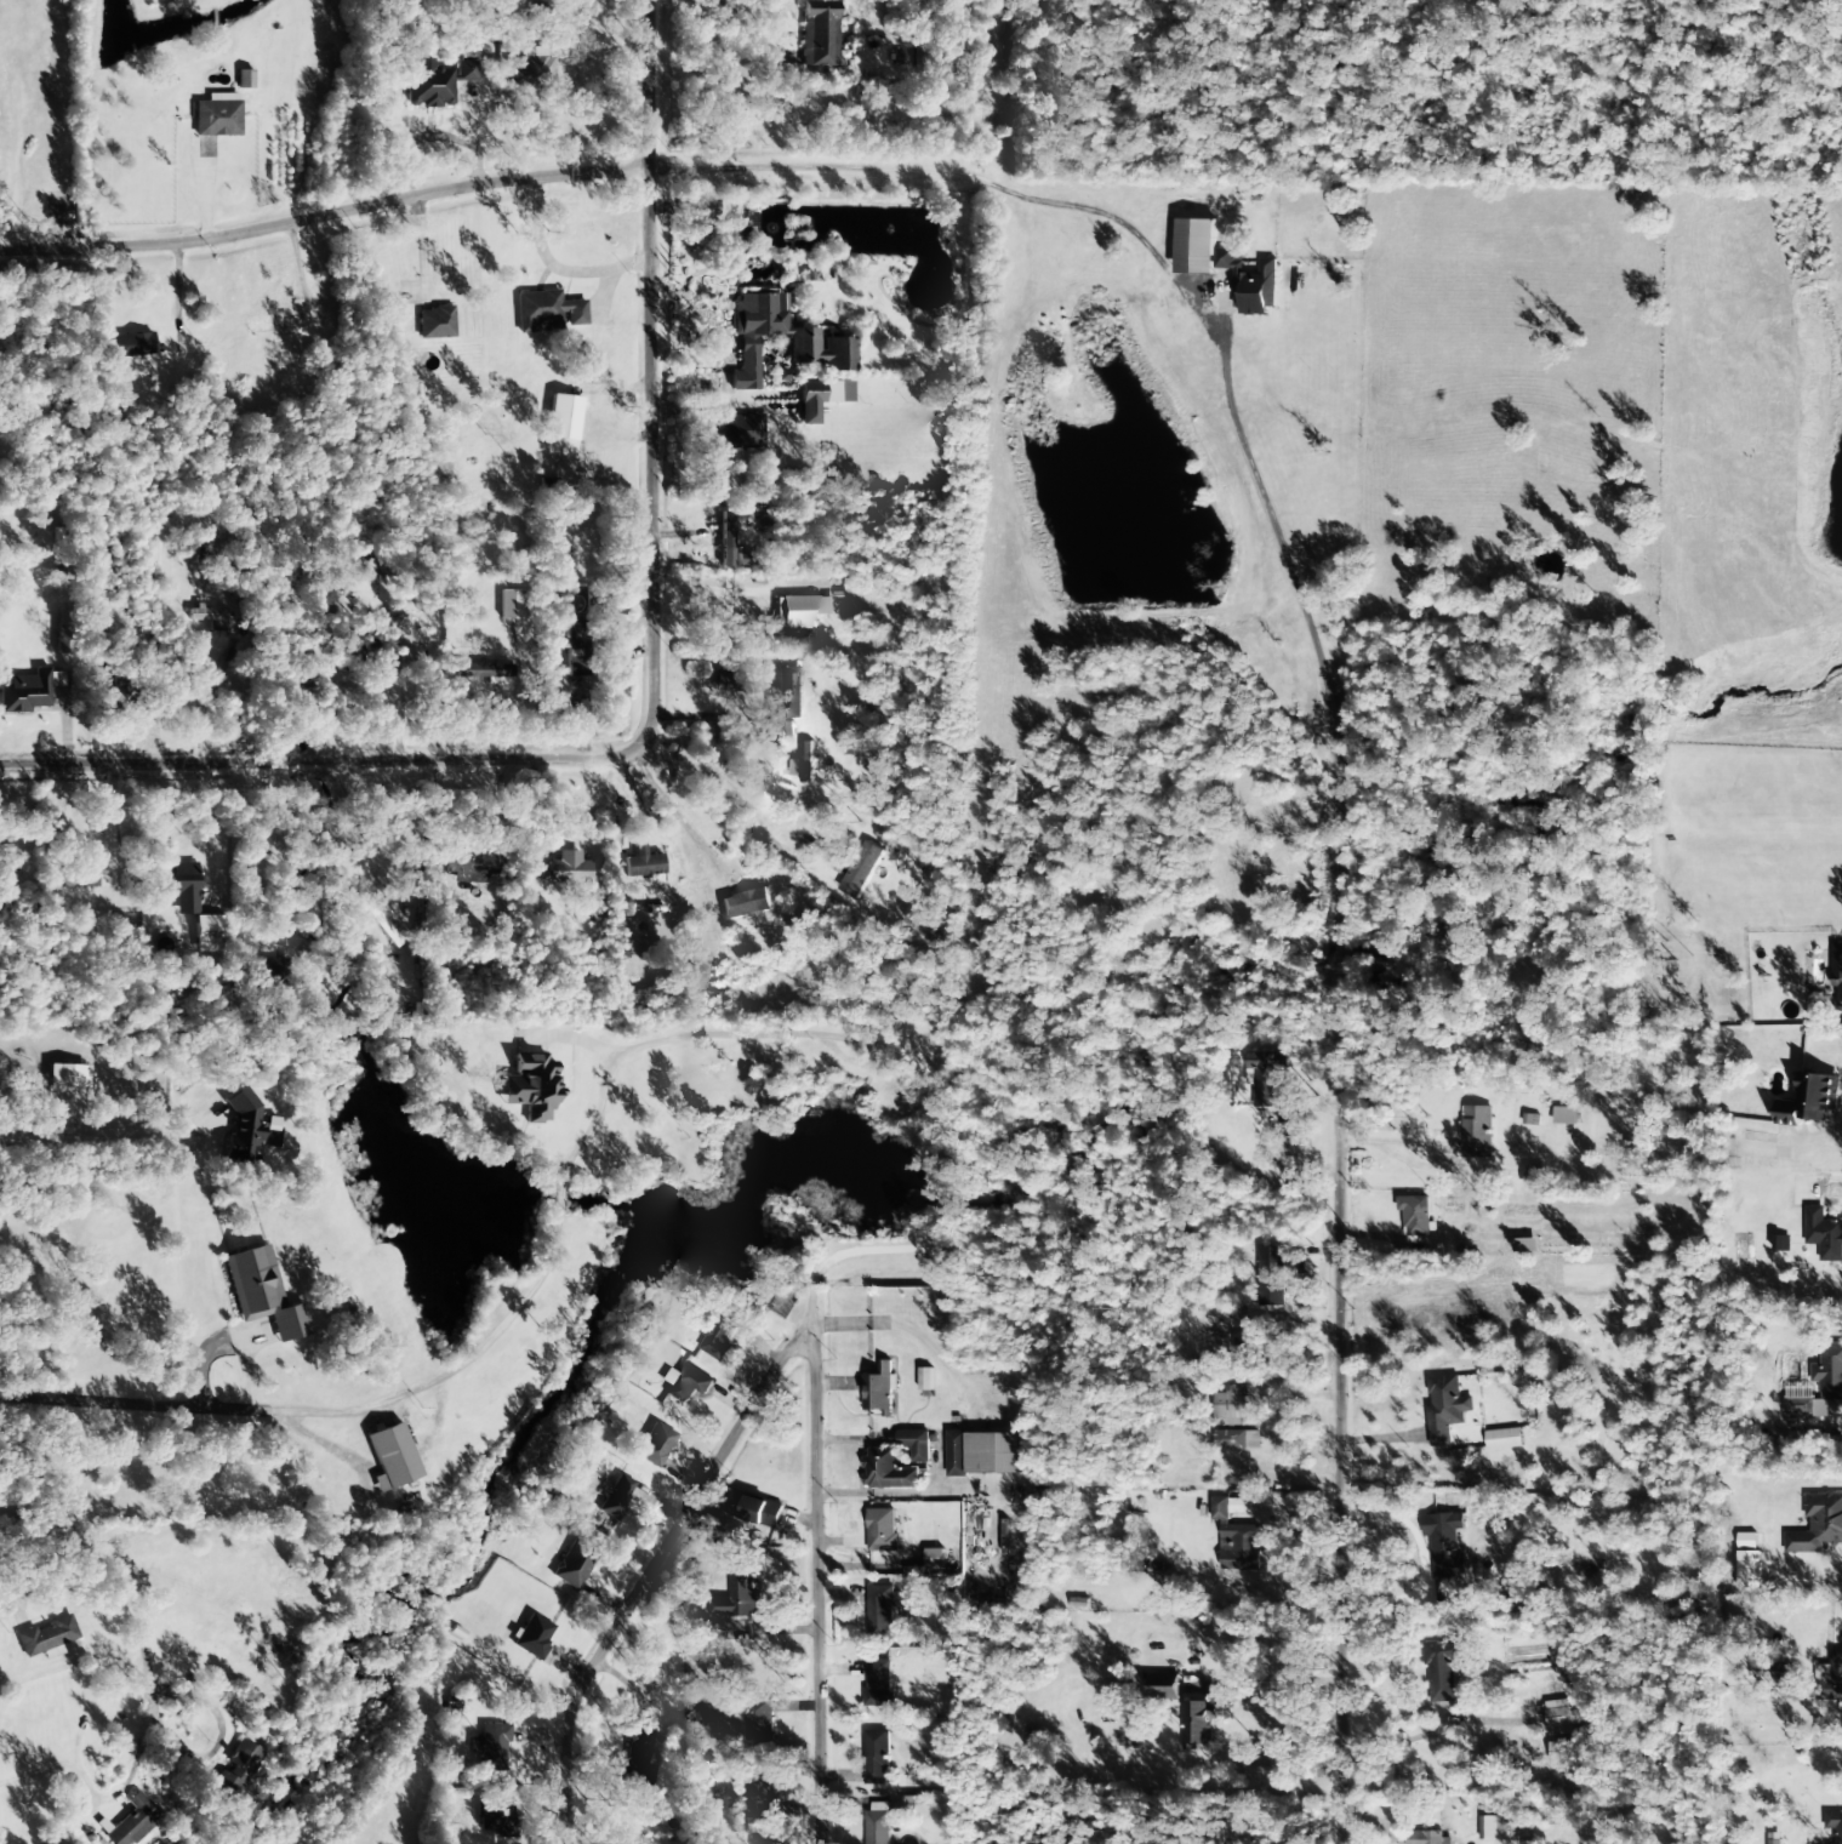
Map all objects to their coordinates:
building: (819, 38)
building: (531, 72)
building: (244, 79)
building: (435, 82)
road: (632, 84)
building: (217, 115)
building: (698, 207)
road: (321, 216)
building: (1250, 284)
building: (547, 310)
building: (434, 324)
building: (133, 346)
road: (1245, 348)
building: (821, 350)
building: (820, 398)
building: (560, 426)
building: (741, 432)
building: (725, 540)
building: (854, 588)
building: (511, 605)
building: (802, 611)
building: (206, 613)
building: (62, 639)
building: (410, 641)
building: (576, 647)
building: (483, 669)
building: (28, 691)
building: (783, 692)
building: (772, 730)
road: (608, 755)
building: (804, 763)
building: (641, 863)
building: (471, 866)
building: (565, 869)
building: (861, 869)
building: (75, 877)
building: (181, 885)
building: (746, 904)
building: (207, 932)
road: (879, 1045)
building: (67, 1075)
building: (1266, 1078)
building: (530, 1087)
building: (1810, 1100)
building: (1285, 1114)
building: (1564, 1115)
building: (246, 1129)
building: (1477, 1132)
building: (1534, 1177)
building: (1415, 1215)
building: (1824, 1234)
building: (1781, 1243)
building: (1526, 1245)
building: (1271, 1278)
building: (262, 1294)
building: (718, 1337)
building: (1829, 1372)
building: (925, 1380)
building: (686, 1385)
building: (879, 1388)
building: (1798, 1405)
building: (1231, 1406)
building: (1444, 1409)
road: (1369, 1423)
building: (1504, 1439)
building: (1238, 1440)
building: (655, 1445)
building: (916, 1445)
building: (985, 1454)
building: (392, 1457)
building: (886, 1471)
building: (615, 1496)
building: (755, 1511)
building: (1818, 1525)
building: (882, 1530)
building: (1237, 1537)
building: (1444, 1553)
building: (936, 1558)
road: (638, 1563)
building: (572, 1566)
building: (738, 1594)
building: (880, 1614)
building: (532, 1637)
building: (47, 1638)
building: (1442, 1669)
building: (1834, 1678)
building: (879, 1683)
building: (1165, 1686)
building: (1558, 1712)
building: (759, 1719)
building: (1201, 1724)
building: (490, 1747)
building: (1563, 1752)
building: (877, 1757)
building: (238, 1766)
building: (762, 1796)
building: (916, 1805)
building: (496, 1817)
building: (132, 1821)
building: (1834, 1823)
building: (878, 1827)
building: (1487, 1828)
building: (1428, 1838)
building: (1774, 1838)

